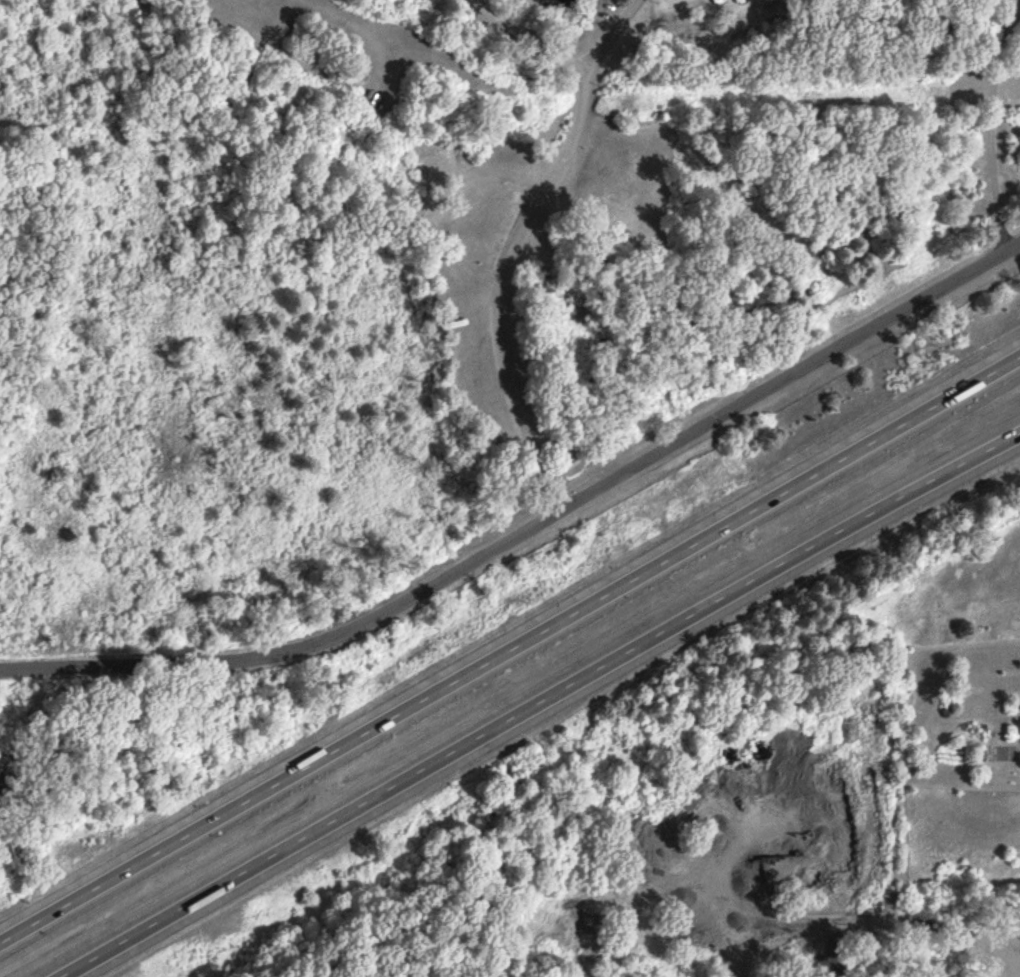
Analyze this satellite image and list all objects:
road: (613, 30)
road: (521, 39)
road: (988, 125)
road: (506, 282)
road: (532, 528)
road: (509, 645)
road: (539, 701)

